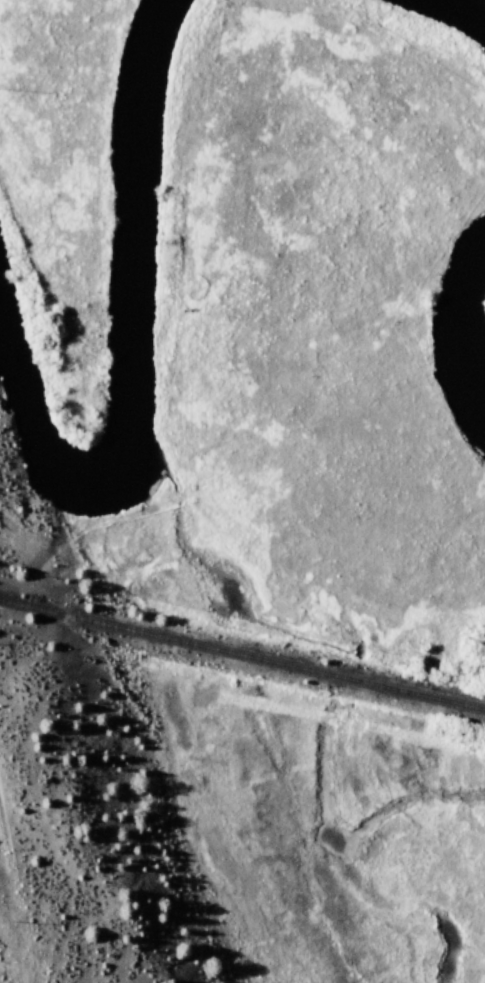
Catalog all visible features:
river: (459, 14)
river: (145, 107)
river: (478, 304)
river: (120, 464)
railway: (242, 657)

